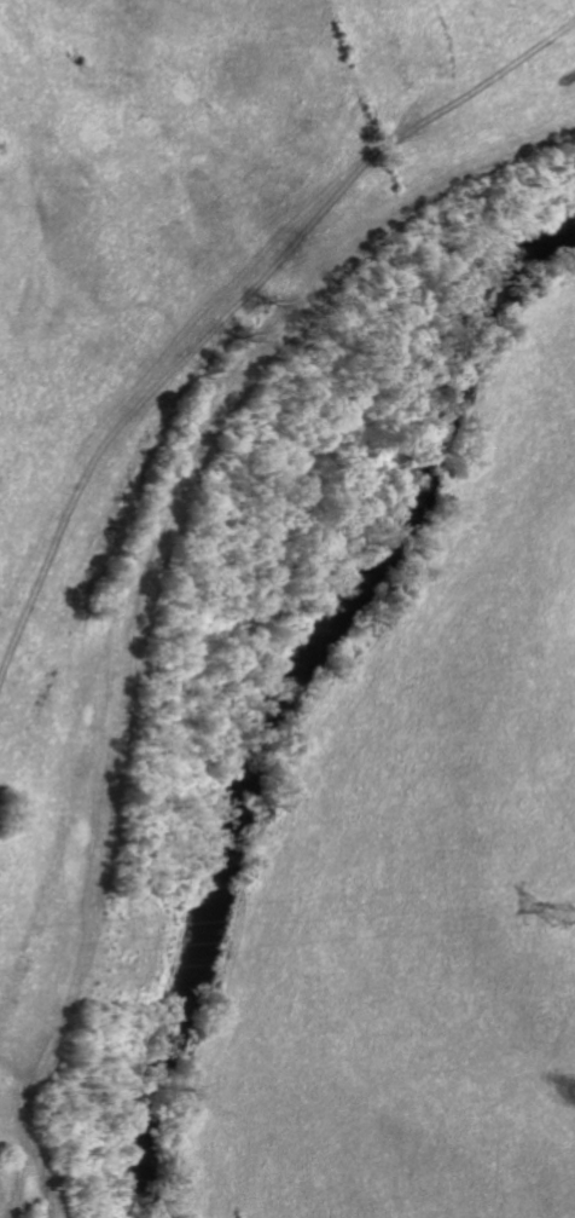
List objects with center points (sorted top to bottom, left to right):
power tower: (564, 917)

